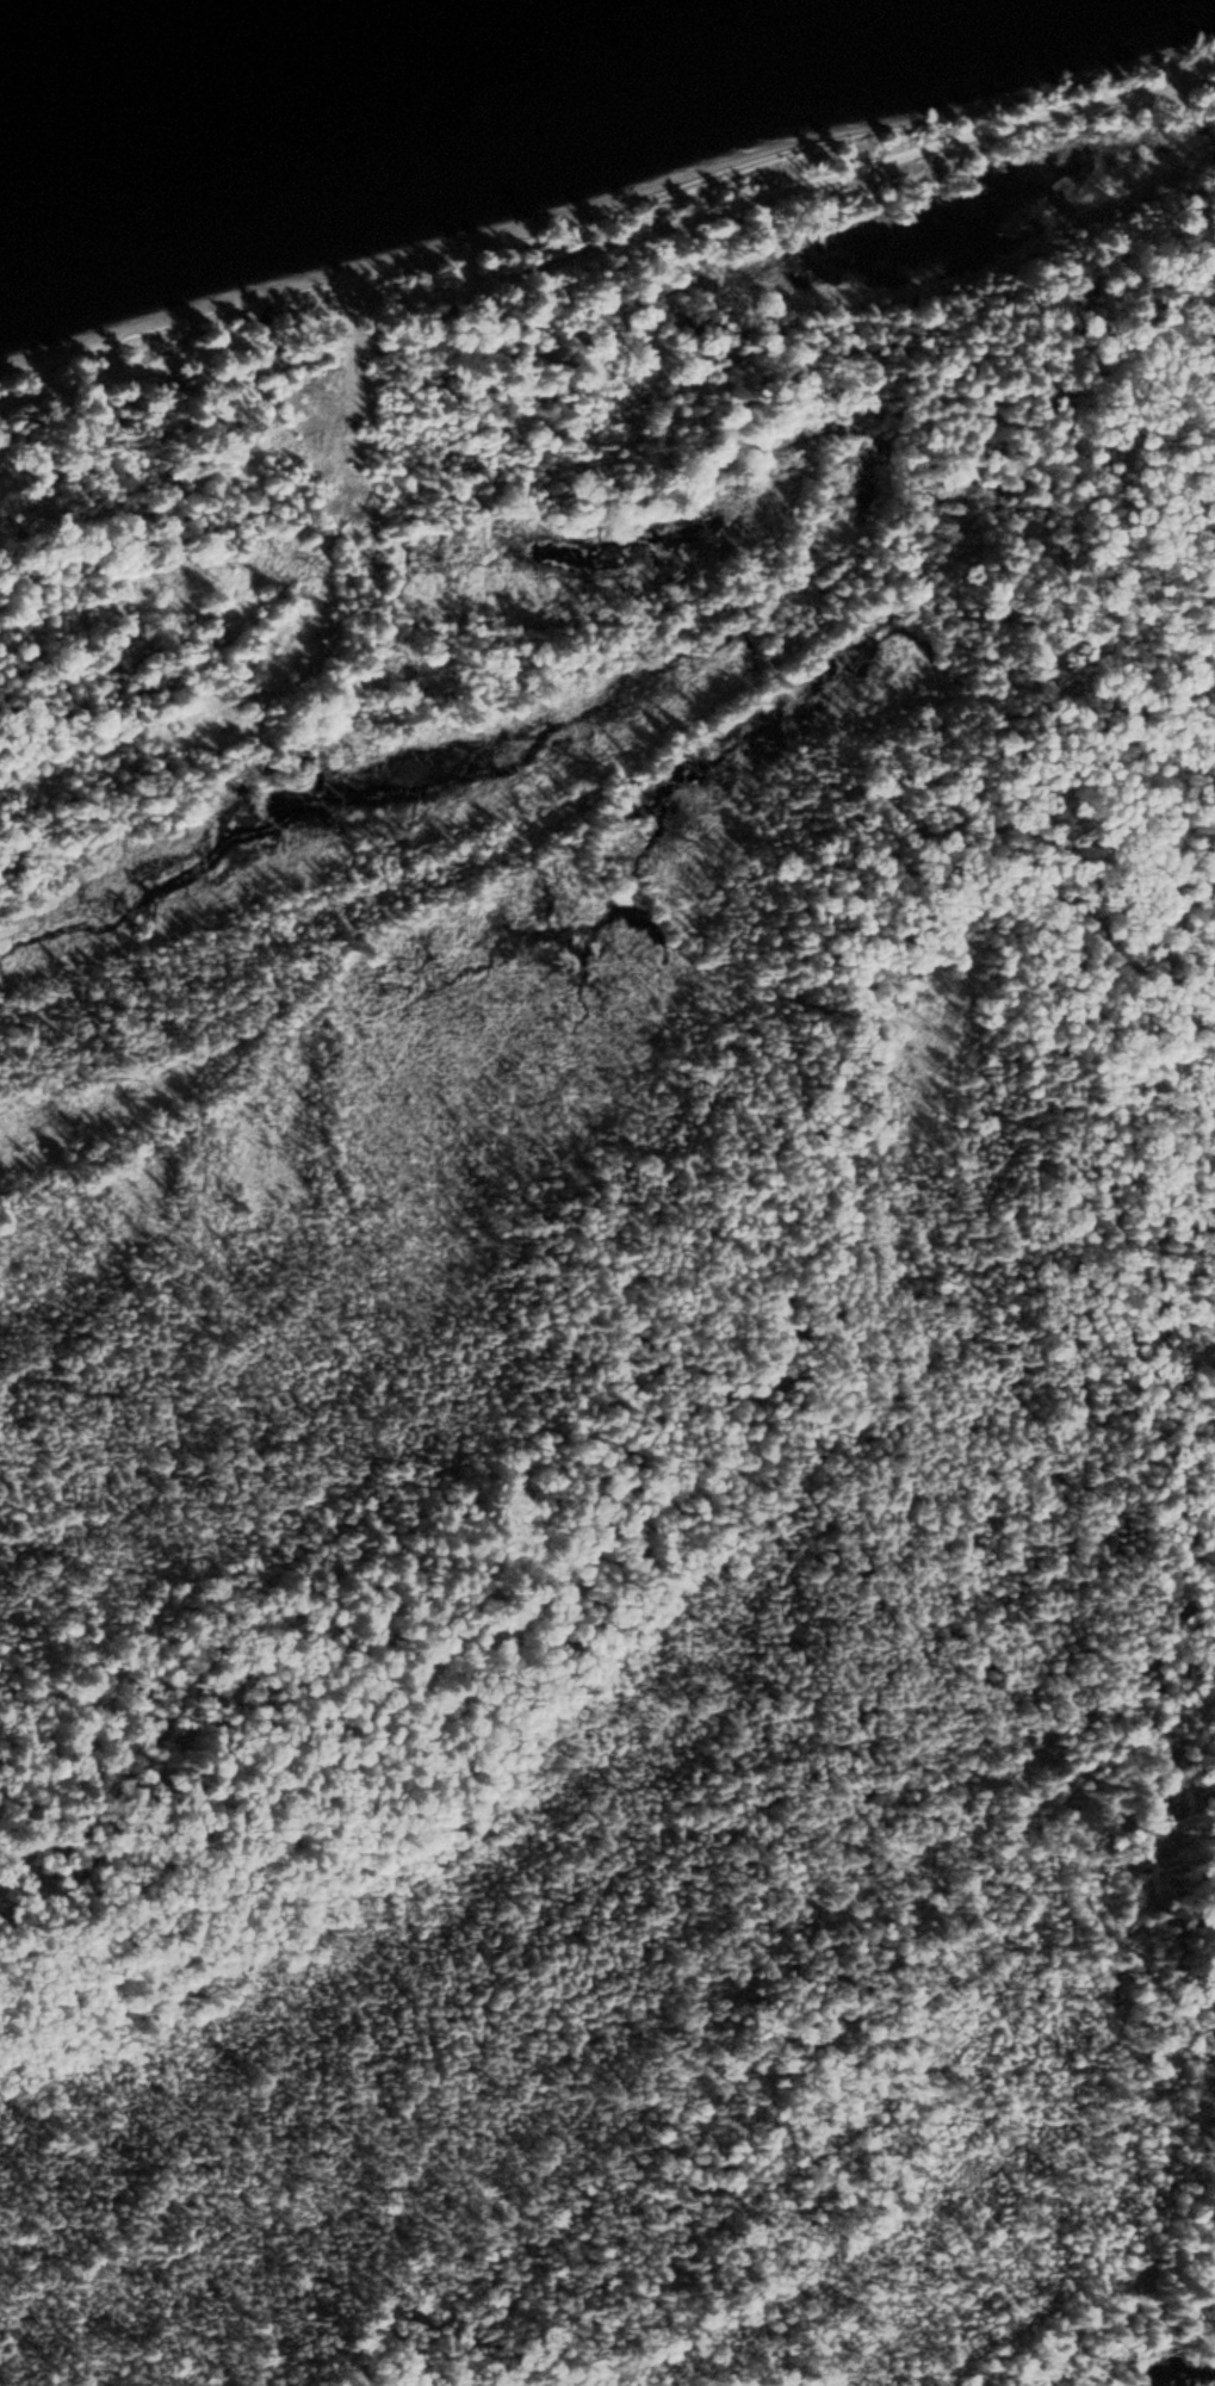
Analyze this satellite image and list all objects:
road: (610, 254)

